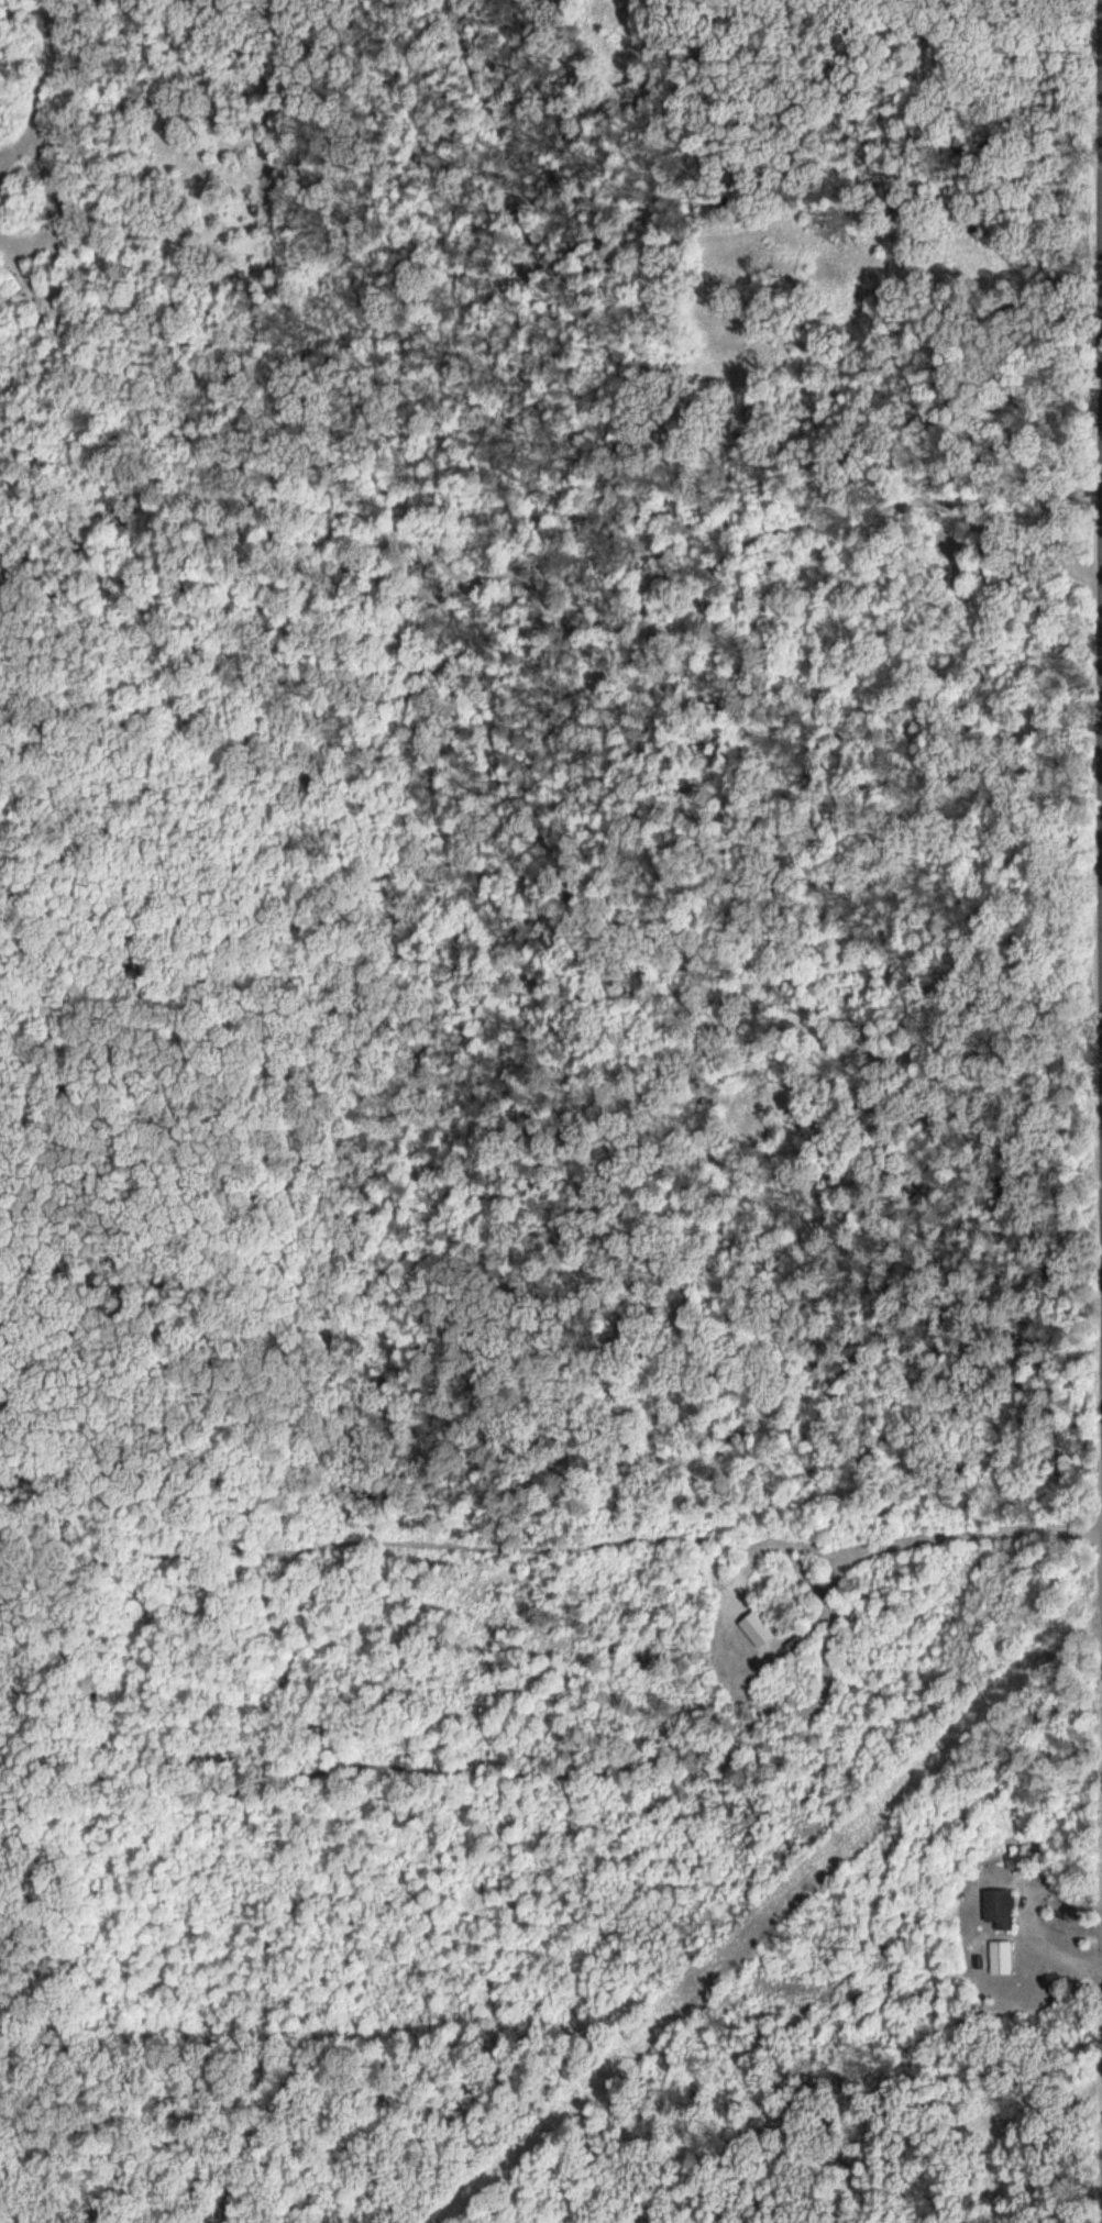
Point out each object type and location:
building: (1002, 1907)
building: (1003, 1957)

